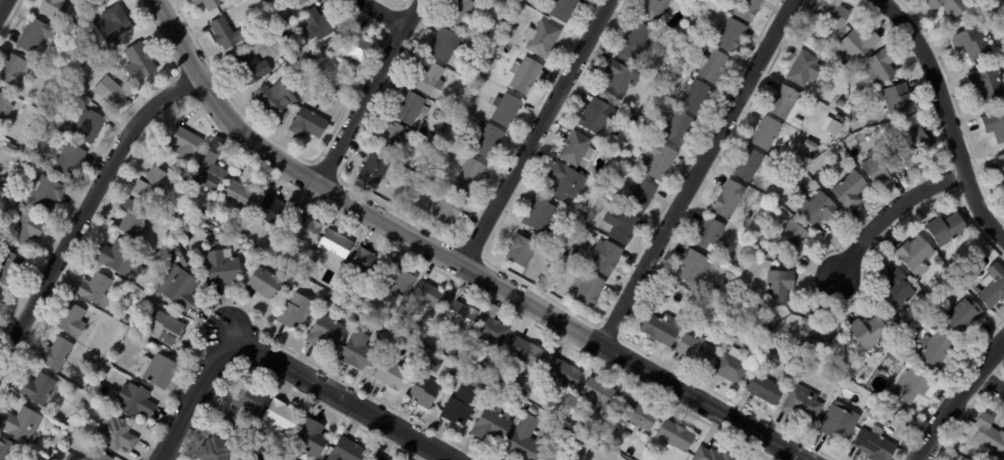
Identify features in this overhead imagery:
building: (491, 0)
building: (265, 1)
building: (302, 2)
building: (208, 3)
road: (3, 6)
building: (950, 6)
building: (54, 8)
building: (560, 9)
building: (747, 9)
building: (653, 10)
road: (388, 13)
building: (459, 13)
building: (832, 15)
building: (112, 24)
building: (318, 24)
building: (226, 33)
building: (730, 34)
building: (34, 35)
building: (542, 39)
building: (636, 42)
building: (830, 42)
building: (974, 42)
building: (856, 43)
building: (1002, 43)
building: (443, 46)
building: (356, 47)
building: (109, 59)
building: (306, 60)
building: (678, 60)
building: (139, 63)
building: (712, 66)
building: (881, 66)
building: (61, 69)
building: (804, 69)
building: (14, 73)
building: (252, 73)
building: (524, 75)
building: (428, 79)
building: (619, 80)
building: (467, 82)
building: (987, 83)
building: (89, 84)
building: (303, 89)
building: (108, 91)
road: (371, 92)
building: (436, 94)
building: (694, 97)
building: (274, 99)
building: (899, 100)
building: (785, 104)
building: (844, 104)
building: (4, 108)
building: (409, 109)
building: (505, 110)
building: (595, 116)
road: (947, 116)
building: (840, 118)
building: (798, 123)
building: (307, 124)
building: (30, 126)
building: (831, 126)
building: (995, 126)
building: (87, 127)
building: (679, 129)
road: (538, 132)
building: (766, 133)
building: (390, 137)
building: (487, 139)
building: (183, 143)
building: (620, 145)
building: (810, 145)
building: (911, 146)
building: (841, 147)
building: (576, 149)
building: (69, 161)
building: (546, 161)
building: (659, 161)
building: (1001, 164)
building: (748, 165)
building: (878, 167)
building: (373, 169)
building: (207, 171)
road: (696, 171)
building: (177, 172)
building: (426, 173)
building: (468, 177)
building: (565, 182)
building: (151, 186)
building: (596, 189)
building: (850, 191)
building: (45, 192)
building: (239, 192)
building: (640, 196)
building: (767, 199)
building: (728, 200)
road: (86, 208)
building: (817, 210)
road: (890, 210)
building: (446, 211)
building: (272, 212)
building: (539, 214)
building: (132, 218)
building: (219, 222)
building: (621, 225)
building: (944, 226)
building: (23, 228)
building: (303, 228)
building: (709, 235)
building: (790, 240)
building: (334, 248)
building: (274, 250)
building: (520, 252)
building: (764, 252)
building: (113, 255)
building: (916, 256)
building: (555, 257)
building: (182, 259)
building: (606, 259)
road: (454, 260)
building: (567, 263)
building: (366, 264)
building: (736, 266)
building: (9, 268)
building: (221, 268)
building: (691, 269)
building: (306, 274)
building: (729, 276)
building: (326, 279)
building: (398, 282)
building: (264, 283)
building: (992, 286)
building: (778, 288)
building: (182, 289)
building: (722, 289)
building: (95, 290)
building: (587, 290)
building: (679, 290)
building: (898, 291)
building: (429, 296)
building: (2, 299)
building: (331, 302)
building: (658, 305)
building: (766, 309)
building: (295, 313)
building: (459, 315)
building: (963, 317)
building: (125, 320)
building: (71, 321)
building: (167, 329)
building: (490, 330)
building: (660, 330)
building: (325, 333)
building: (868, 333)
building: (813, 335)
building: (763, 337)
building: (758, 347)
building: (695, 350)
building: (912, 351)
building: (358, 352)
building: (524, 353)
building: (934, 353)
building: (55, 355)
building: (895, 357)
building: (448, 361)
building: (840, 362)
road: (280, 364)
building: (731, 368)
building: (158, 370)
building: (562, 373)
building: (392, 374)
road: (989, 381)
building: (477, 383)
building: (908, 386)
building: (766, 389)
building: (38, 390)
building: (424, 392)
building: (492, 394)
building: (600, 396)
road: (955, 396)
building: (134, 400)
building: (245, 402)
building: (869, 403)
building: (803, 404)
building: (459, 408)
building: (636, 414)
building: (276, 415)
building: (217, 419)
building: (70, 421)
building: (839, 422)
building: (22, 424)
building: (492, 424)
building: (116, 434)
building: (988, 436)
building: (256, 437)
building: (310, 437)
building: (674, 437)
building: (875, 444)
building: (528, 445)
building: (596, 447)
building: (213, 449)
building: (7, 450)
building: (52, 450)
building: (345, 450)
building: (51, 455)
building: (95, 455)
building: (711, 455)
building: (245, 457)
building: (377, 457)
building: (42, 458)
building: (548, 459)

